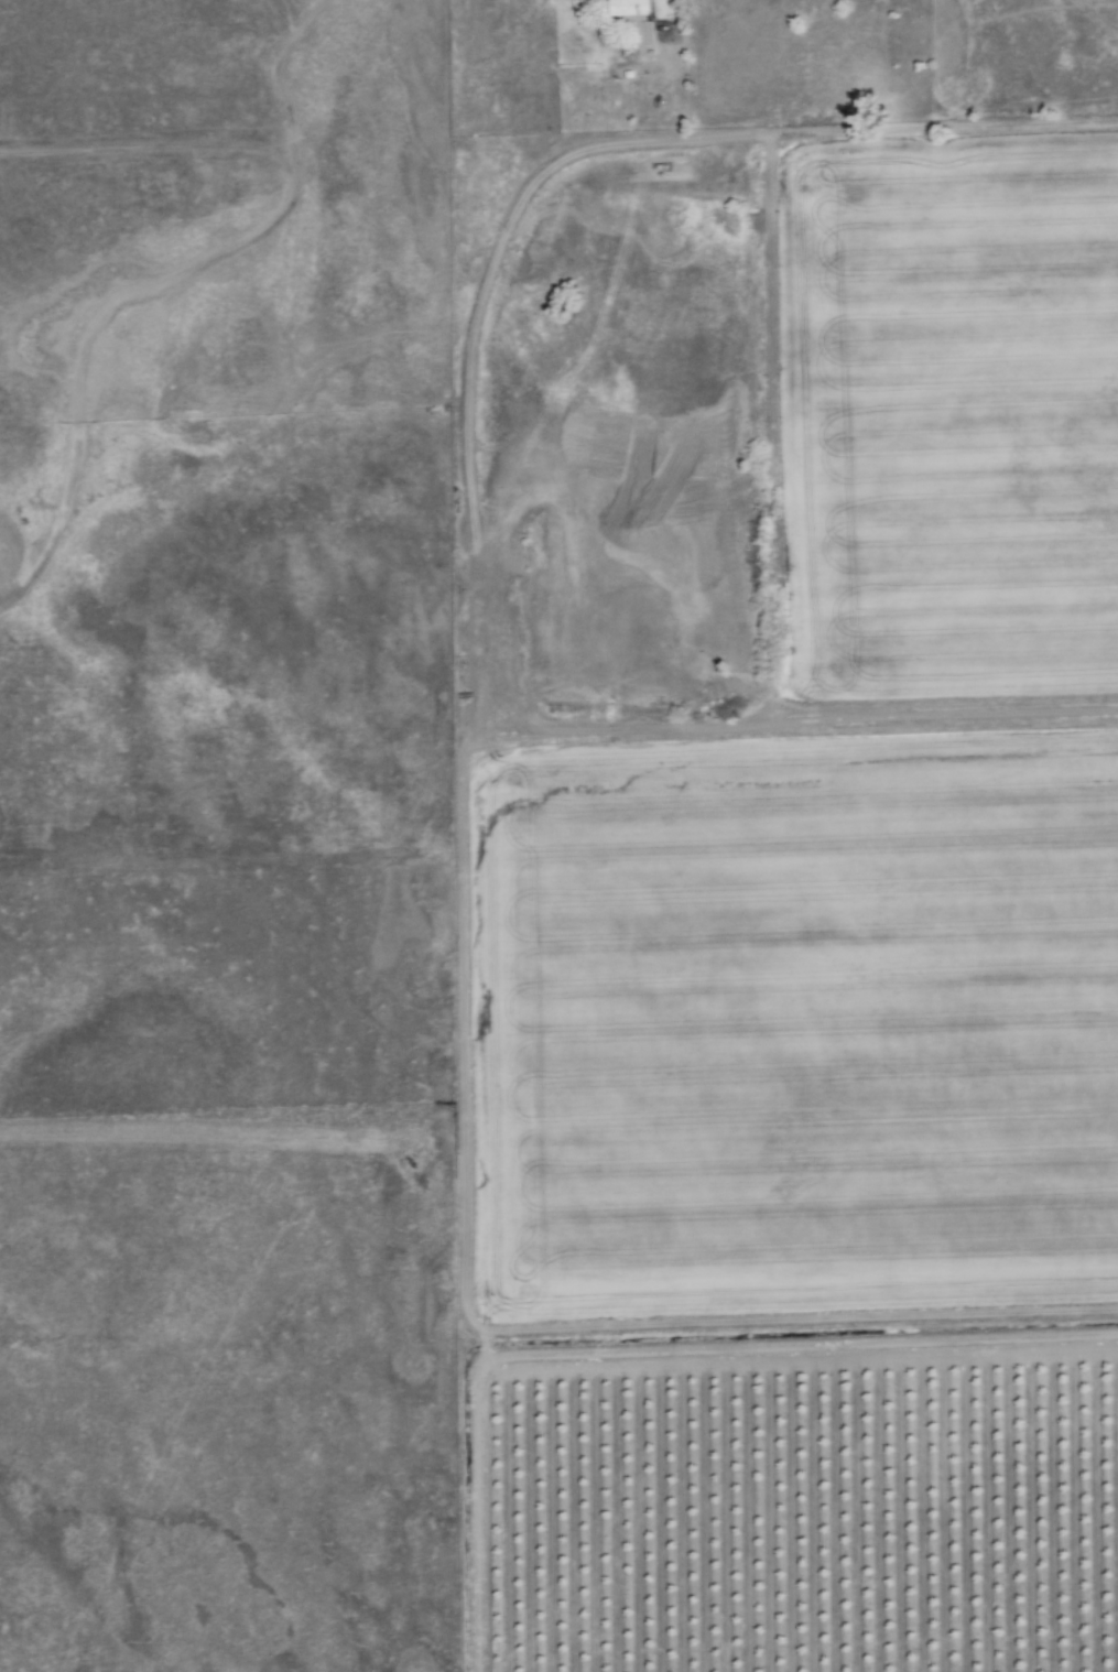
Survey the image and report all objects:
building: (636, 19)

